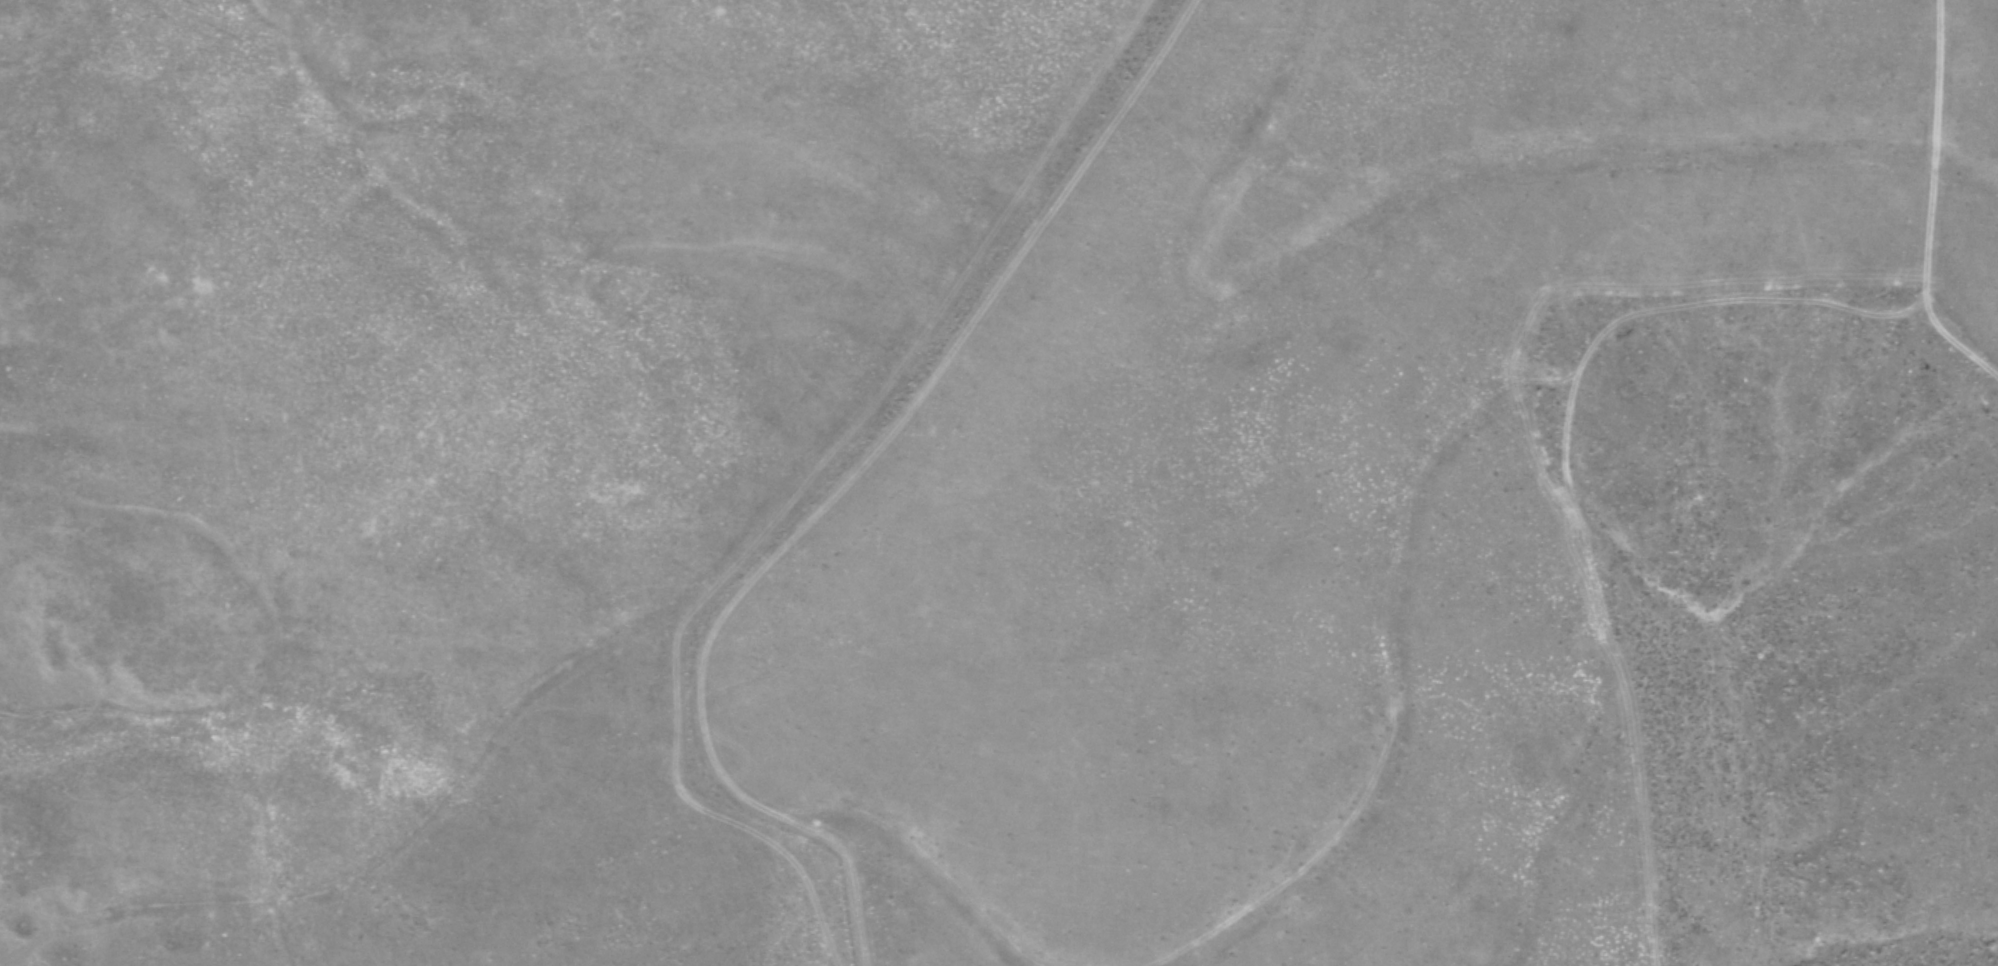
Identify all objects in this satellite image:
road: (1931, 151)

